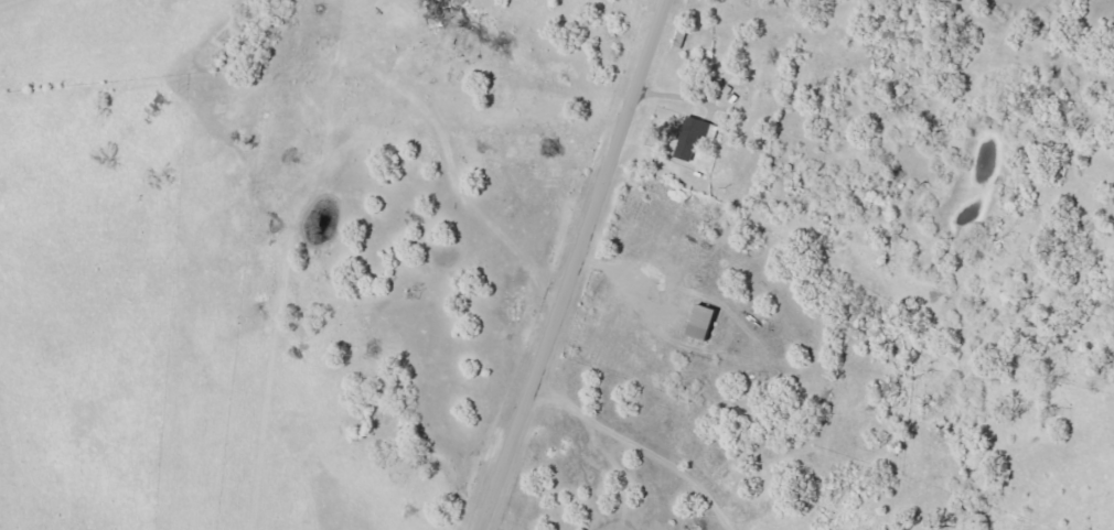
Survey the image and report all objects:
building: (689, 136)
road: (577, 266)
building: (697, 323)

